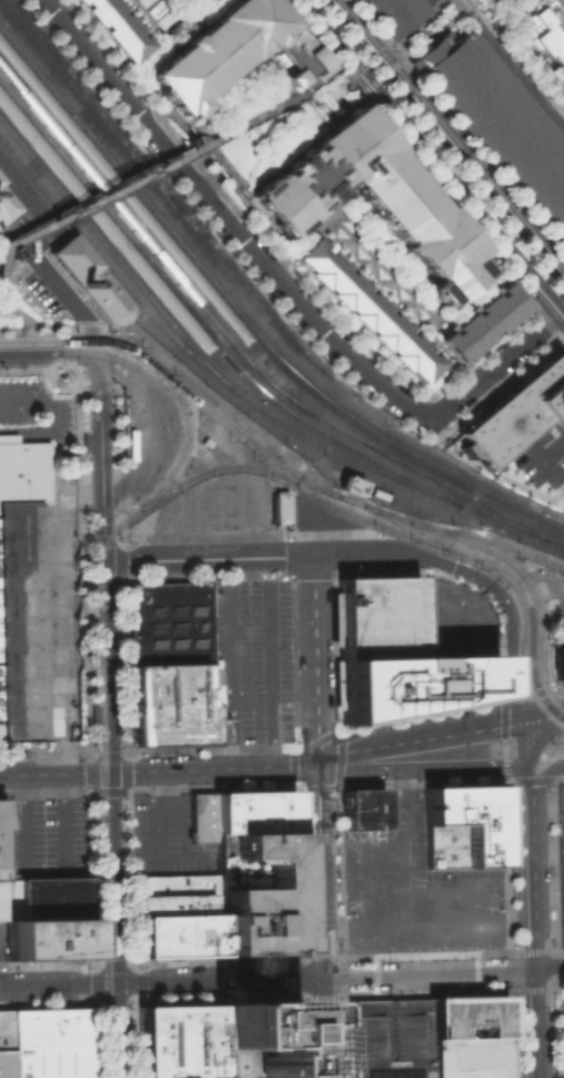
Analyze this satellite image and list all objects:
building: (197, 0)
building: (496, 0)
building: (511, 0)
building: (393, 12)
parking lot: (393, 12)
building: (117, 26)
road: (424, 28)
building: (542, 36)
building: (234, 52)
road: (508, 65)
road: (372, 71)
road: (340, 77)
road: (323, 96)
railway: (30, 101)
building: (51, 107)
road: (266, 111)
building: (13, 116)
road: (156, 117)
building: (499, 120)
parking lot: (499, 120)
road: (200, 134)
road: (196, 138)
road: (446, 141)
road: (211, 154)
road: (256, 154)
road: (431, 157)
railway: (32, 180)
road: (235, 186)
road: (102, 194)
building: (375, 199)
building: (6, 202)
road: (220, 215)
road: (243, 222)
road: (8, 248)
road: (29, 254)
railway: (112, 254)
railway: (110, 264)
road: (11, 277)
building: (89, 277)
road: (1, 301)
building: (368, 312)
railway: (246, 322)
building: (483, 323)
railway: (201, 325)
road: (40, 330)
railway: (248, 339)
railway: (87, 341)
railway: (209, 346)
road: (50, 350)
traffic signals: (100, 356)
road: (491, 366)
railway: (275, 388)
road: (484, 390)
railway: (211, 398)
road: (46, 410)
building: (518, 410)
road: (102, 416)
road: (507, 418)
road: (158, 428)
road: (8, 437)
railway: (186, 447)
parking lot: (538, 453)
railway: (339, 454)
road: (540, 457)
road: (481, 464)
railway: (288, 469)
building: (348, 483)
road: (562, 484)
road: (218, 501)
building: (279, 507)
railway: (400, 517)
road: (106, 518)
road: (53, 519)
railway: (403, 525)
railway: (511, 525)
railway: (399, 530)
railway: (487, 538)
road: (100, 540)
road: (354, 555)
road: (209, 557)
road: (83, 559)
road: (118, 559)
traffic signals: (107, 560)
road: (442, 563)
road: (101, 579)
building: (20, 586)
road: (533, 592)
traffic signals: (506, 607)
railway: (99, 612)
building: (376, 616)
building: (167, 621)
road: (109, 646)
road: (509, 648)
road: (314, 658)
road: (269, 660)
road: (230, 661)
parking lot: (248, 661)
building: (561, 665)
road: (87, 667)
road: (55, 678)
building: (412, 683)
road: (558, 693)
building: (168, 703)
road: (540, 717)
traffic signals: (517, 722)
road: (340, 729)
road: (503, 731)
road: (416, 738)
road: (520, 743)
railway: (82, 748)
railway: (102, 752)
road: (111, 752)
road: (43, 755)
road: (105, 755)
traffic signals: (317, 762)
road: (419, 766)
road: (215, 767)
traffic signals: (112, 772)
road: (122, 772)
road: (85, 773)
road: (29, 774)
road: (90, 774)
road: (544, 776)
road: (525, 781)
road: (107, 792)
road: (547, 804)
building: (362, 807)
building: (253, 812)
building: (0, 815)
parking lot: (563, 815)
building: (200, 816)
building: (461, 825)
parking lot: (42, 836)
parking lot: (166, 836)
road: (548, 849)
road: (403, 861)
road: (42, 869)
road: (113, 878)
road: (364, 882)
building: (174, 883)
road: (468, 886)
parking lot: (414, 888)
road: (548, 891)
building: (254, 892)
building: (43, 896)
building: (1, 899)
building: (175, 903)
road: (320, 920)
railway: (108, 924)
road: (427, 928)
road: (550, 931)
building: (175, 933)
road: (535, 937)
road: (0, 939)
building: (46, 939)
parking lot: (2, 940)
road: (554, 964)
road: (550, 969)
road: (505, 973)
road: (304, 976)
road: (424, 976)
road: (347, 977)
road: (218, 980)
road: (58, 984)
traffic signals: (116, 984)
road: (96, 998)
building: (468, 1017)
building: (3, 1029)
road: (116, 1031)
building: (389, 1037)
parking lot: (389, 1037)
building: (263, 1039)
building: (180, 1040)
building: (48, 1042)
building: (469, 1057)
parking lot: (469, 1057)
building: (4, 1064)

